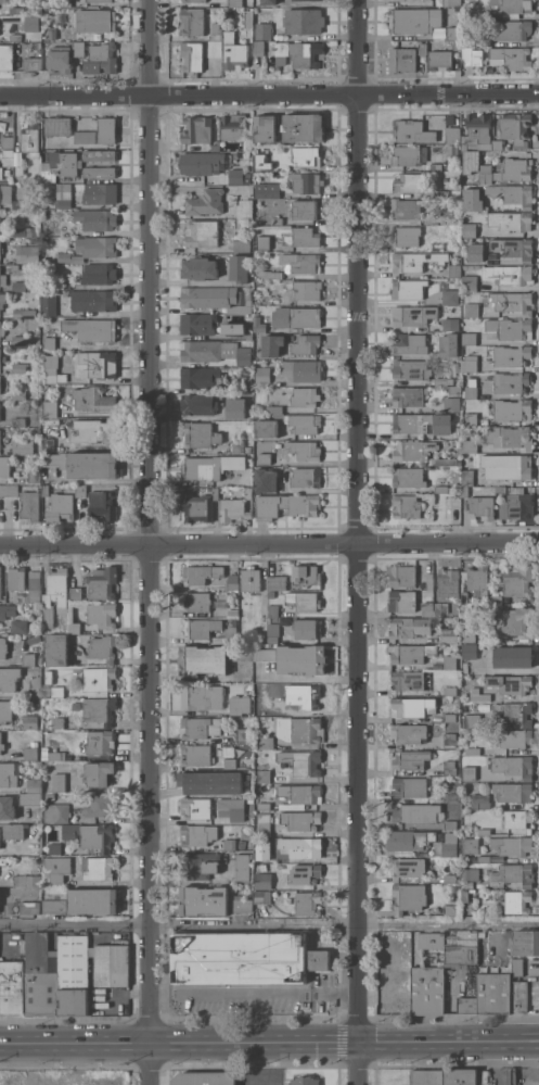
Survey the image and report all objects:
building: (193, 0)
building: (299, 0)
building: (394, 0)
building: (401, 0)
building: (100, 1)
building: (270, 2)
building: (452, 2)
building: (235, 3)
building: (513, 7)
building: (15, 11)
building: (235, 12)
building: (95, 21)
building: (193, 21)
building: (305, 21)
building: (415, 21)
building: (31, 23)
building: (513, 29)
building: (264, 30)
building: (52, 33)
building: (216, 33)
building: (251, 33)
building: (439, 33)
building: (453, 33)
building: (16, 37)
building: (458, 45)
building: (259, 48)
building: (79, 49)
building: (216, 49)
building: (423, 49)
building: (234, 51)
building: (301, 52)
building: (467, 53)
building: (192, 55)
building: (7, 56)
building: (512, 58)
building: (102, 59)
building: (60, 60)
building: (402, 60)
building: (440, 61)
building: (33, 63)
road: (269, 94)
building: (450, 119)
building: (59, 126)
building: (236, 126)
building: (304, 127)
building: (516, 127)
building: (265, 128)
building: (107, 129)
building: (197, 129)
building: (412, 131)
building: (480, 134)
building: (453, 135)
building: (85, 137)
building: (31, 138)
building: (8, 141)
building: (249, 144)
building: (216, 146)
building: (453, 150)
building: (99, 155)
building: (307, 155)
building: (409, 155)
building: (8, 156)
building: (472, 161)
building: (67, 162)
building: (202, 162)
building: (437, 166)
building: (274, 167)
building: (515, 169)
building: (20, 171)
building: (1, 172)
building: (49, 172)
building: (99, 172)
building: (236, 176)
building: (486, 178)
building: (308, 182)
building: (408, 182)
building: (493, 189)
building: (268, 190)
building: (101, 192)
building: (5, 193)
building: (440, 193)
building: (518, 194)
building: (64, 195)
building: (473, 199)
building: (206, 202)
building: (265, 202)
building: (20, 204)
building: (407, 207)
building: (245, 209)
building: (305, 210)
building: (449, 217)
building: (97, 218)
building: (277, 220)
building: (516, 220)
building: (1, 222)
building: (54, 228)
building: (467, 229)
building: (483, 230)
building: (22, 231)
building: (202, 234)
building: (407, 236)
building: (306, 237)
building: (264, 242)
building: (243, 245)
building: (437, 247)
building: (514, 248)
building: (1, 249)
building: (92, 249)
building: (477, 252)
building: (30, 254)
building: (416, 260)
building: (301, 262)
building: (15, 266)
building: (240, 267)
building: (201, 268)
building: (454, 270)
building: (100, 274)
building: (270, 274)
building: (510, 274)
building: (2, 277)
building: (470, 282)
building: (20, 286)
building: (409, 288)
building: (308, 290)
building: (450, 297)
building: (217, 298)
building: (2, 300)
building: (95, 300)
building: (513, 302)
building: (50, 305)
building: (472, 310)
building: (25, 312)
building: (413, 315)
building: (297, 316)
building: (197, 324)
building: (451, 324)
building: (259, 325)
building: (510, 328)
building: (93, 329)
building: (233, 329)
building: (2, 330)
building: (470, 338)
building: (20, 340)
building: (50, 343)
building: (411, 343)
building: (272, 344)
building: (307, 344)
building: (449, 344)
building: (202, 350)
building: (244, 356)
building: (513, 356)
building: (2, 357)
building: (469, 363)
building: (97, 364)
building: (20, 367)
building: (53, 369)
building: (303, 369)
building: (411, 369)
building: (264, 375)
building: (202, 377)
building: (441, 381)
building: (513, 382)
building: (244, 383)
building: (454, 390)
building: (471, 392)
building: (13, 393)
building: (409, 395)
building: (306, 396)
building: (94, 399)
building: (452, 403)
building: (198, 404)
building: (235, 407)
building: (50, 408)
building: (274, 408)
building: (514, 409)
building: (0, 412)
building: (471, 418)
building: (20, 421)
building: (305, 422)
building: (421, 424)
building: (249, 427)
building: (268, 428)
building: (93, 430)
building: (457, 433)
building: (201, 434)
building: (512, 437)
building: (0, 439)
building: (49, 444)
building: (238, 445)
building: (469, 445)
building: (23, 446)
building: (248, 449)
building: (306, 450)
building: (413, 450)
building: (265, 458)
building: (55, 459)
building: (448, 462)
building: (93, 465)
building: (5, 466)
building: (211, 466)
building: (508, 466)
building: (35, 476)
building: (307, 477)
building: (409, 477)
building: (467, 477)
building: (266, 480)
building: (444, 489)
building: (47, 490)
building: (501, 490)
building: (9, 491)
building: (81, 491)
building: (464, 491)
building: (249, 493)
building: (103, 504)
building: (516, 504)
building: (287, 505)
building: (30, 506)
building: (200, 506)
building: (408, 506)
building: (61, 507)
building: (483, 507)
building: (234, 510)
road: (150, 542)
road: (357, 542)
road: (269, 543)
building: (202, 573)
building: (306, 575)
building: (402, 575)
building: (17, 578)
building: (251, 579)
building: (478, 579)
building: (429, 580)
building: (449, 581)
building: (518, 581)
building: (232, 582)
building: (278, 582)
building: (104, 583)
building: (0, 584)
building: (31, 589)
building: (76, 592)
building: (271, 594)
building: (55, 595)
building: (465, 597)
building: (497, 598)
building: (304, 601)
building: (402, 601)
building: (198, 602)
building: (233, 607)
building: (427, 608)
building: (441, 608)
building: (273, 609)
building: (7, 610)
building: (103, 615)
building: (511, 620)
building: (20, 626)
building: (203, 627)
building: (409, 627)
building: (75, 628)
building: (307, 629)
building: (33, 630)
building: (273, 632)
building: (450, 634)
building: (469, 634)
building: (227, 638)
building: (75, 641)
building: (3, 647)
building: (103, 647)
building: (56, 649)
building: (470, 649)
building: (411, 653)
building: (242, 654)
building: (266, 654)
building: (514, 656)
building: (29, 659)
building: (203, 659)
building: (303, 659)
building: (450, 661)
building: (465, 667)
building: (50, 677)
building: (97, 677)
building: (9, 678)
road: (303, 678)
building: (408, 680)
building: (511, 683)
building: (36, 686)
building: (247, 686)
building: (451, 691)
building: (56, 692)
building: (479, 694)
building: (307, 695)
building: (196, 701)
building: (235, 705)
building: (412, 707)
building: (100, 709)
building: (5, 710)
building: (513, 711)
building: (450, 717)
building: (472, 720)
building: (55, 721)
building: (30, 722)
building: (200, 727)
building: (300, 729)
building: (410, 733)
building: (243, 734)
building: (515, 737)
building: (451, 740)
building: (101, 742)
building: (266, 742)
building: (1, 743)
building: (31, 750)
building: (196, 754)
building: (54, 755)
building: (411, 759)
building: (230, 764)
building: (308, 764)
building: (513, 766)
building: (450, 768)
building: (100, 772)
building: (9, 773)
building: (265, 775)
building: (59, 782)
building: (211, 782)
building: (35, 783)
building: (409, 786)
building: (513, 792)
building: (454, 794)
building: (299, 795)
building: (51, 796)
building: (30, 798)
building: (480, 800)
building: (100, 805)
building: (265, 806)
building: (8, 807)
building: (196, 807)
building: (233, 807)
building: (56, 812)
building: (416, 812)
building: (301, 819)
building: (518, 819)
building: (265, 823)
building: (450, 824)
building: (15, 831)
building: (485, 832)
building: (197, 834)
building: (90, 835)
building: (409, 838)
building: (230, 844)
building: (450, 844)
building: (472, 845)
building: (512, 845)
building: (303, 846)
building: (55, 848)
building: (264, 856)
building: (480, 858)
building: (201, 865)
building: (98, 867)
building: (243, 867)
building: (410, 867)
building: (56, 870)
building: (305, 873)
building: (470, 873)
building: (514, 873)
building: (450, 878)
building: (264, 880)
building: (27, 881)
building: (262, 897)
building: (409, 897)
building: (93, 900)
building: (204, 900)
building: (517, 901)
building: (308, 903)
building: (241, 904)
building: (55, 906)
building: (26, 907)
building: (451, 910)
road: (269, 924)
building: (431, 939)
building: (525, 943)
building: (461, 947)
building: (240, 958)
building: (320, 959)
building: (112, 963)
building: (517, 967)
building: (74, 974)
building: (40, 976)
building: (427, 985)
building: (12, 987)
road: (255, 992)
building: (495, 993)
building: (519, 996)
building: (467, 1005)
road: (269, 1040)
building: (428, 1076)
building: (461, 1076)
building: (512, 1076)
building: (483, 1077)
building: (204, 1078)
building: (305, 1080)

